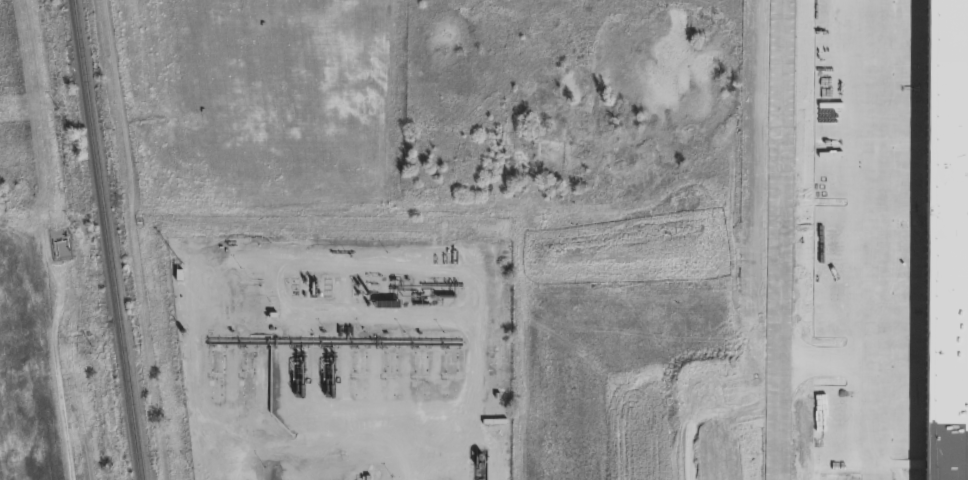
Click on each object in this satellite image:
railway: (111, 239)

